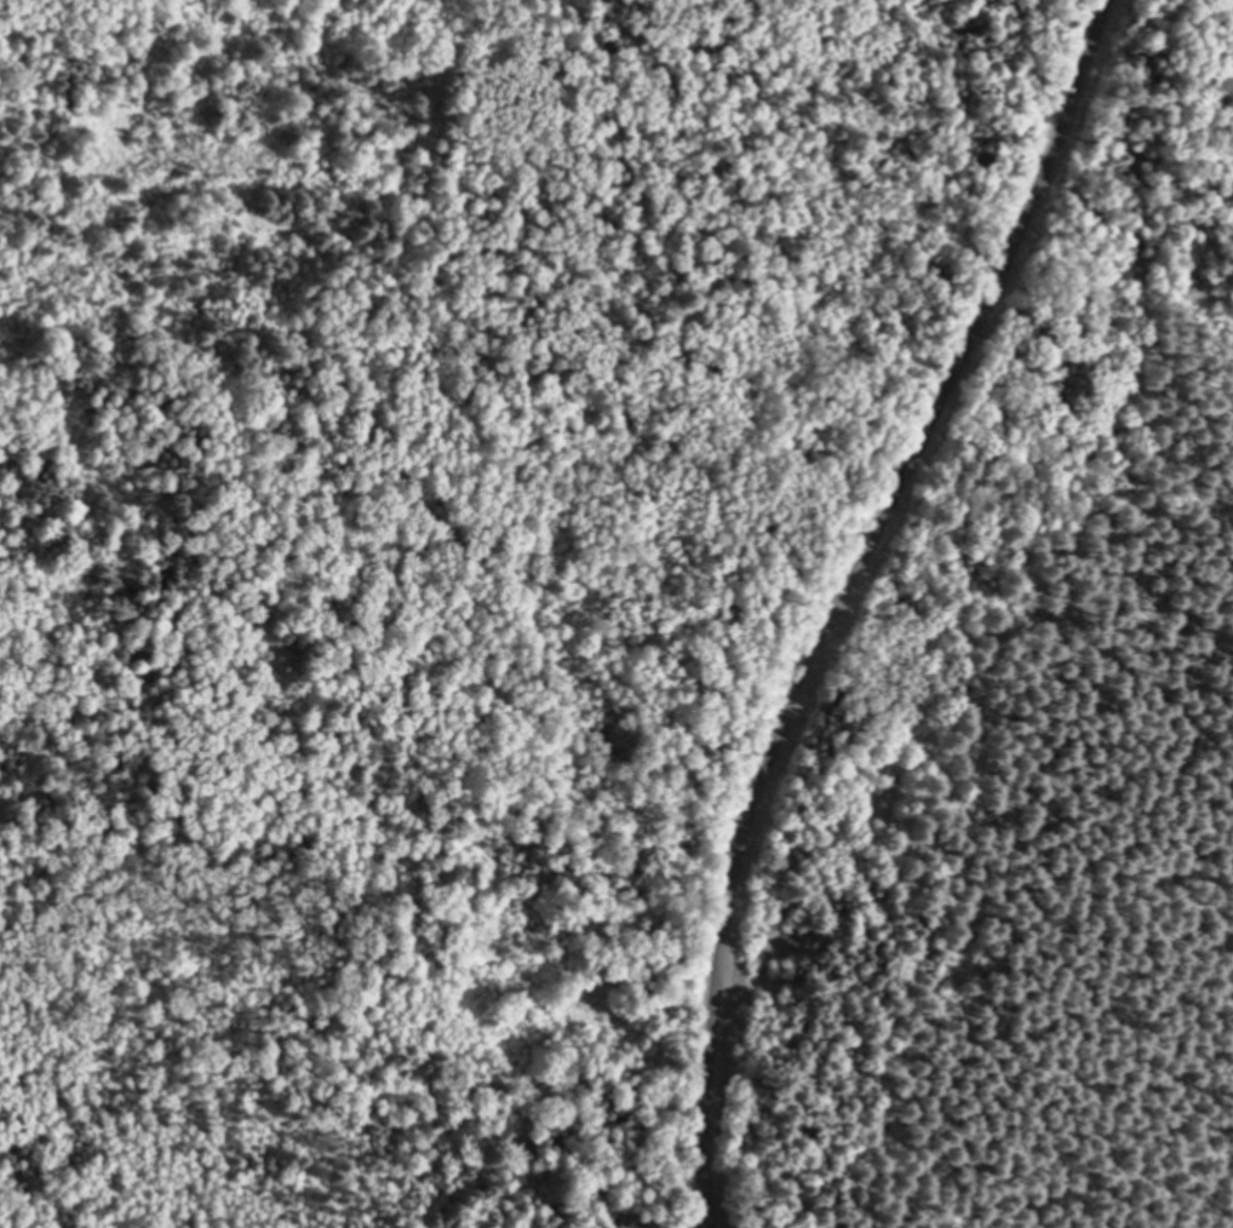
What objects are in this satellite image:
road: (842, 597)
road: (692, 1223)

